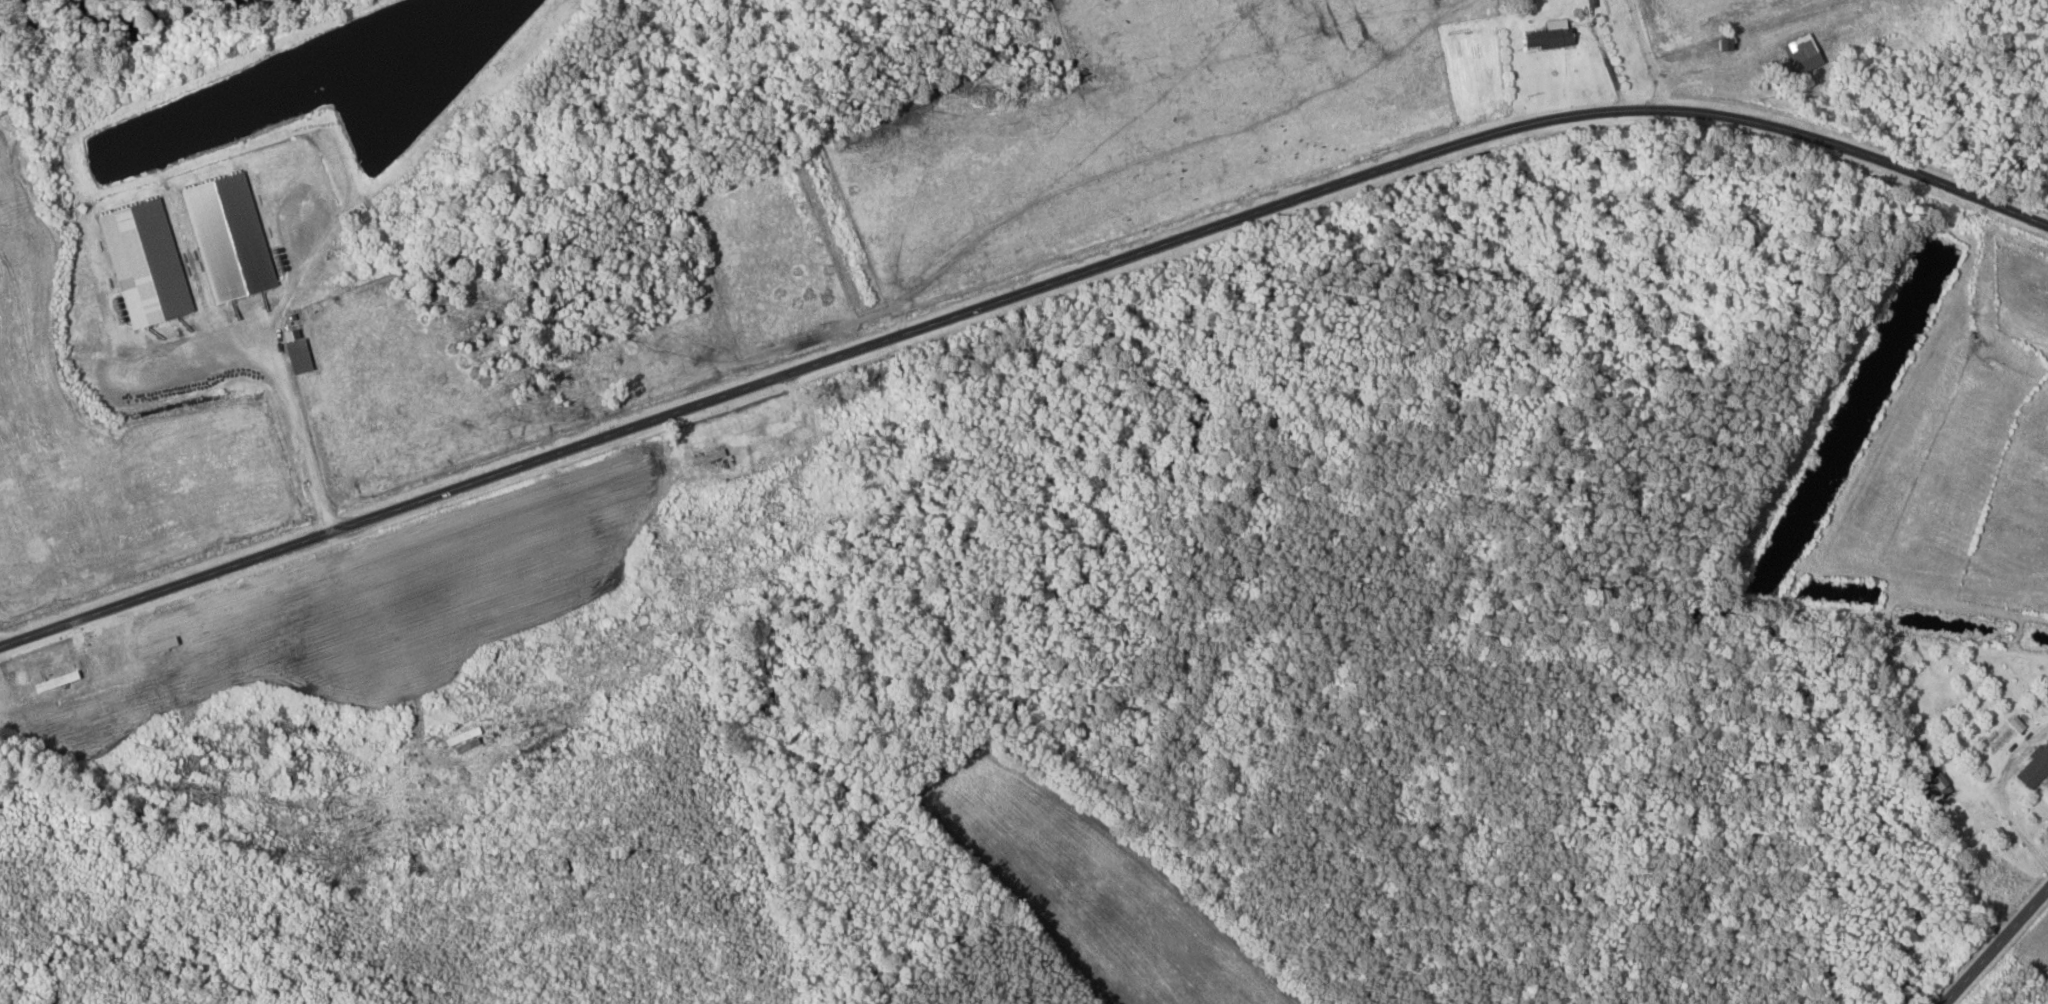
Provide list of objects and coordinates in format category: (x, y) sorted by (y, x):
road: (1024, 305)
road: (1995, 946)

